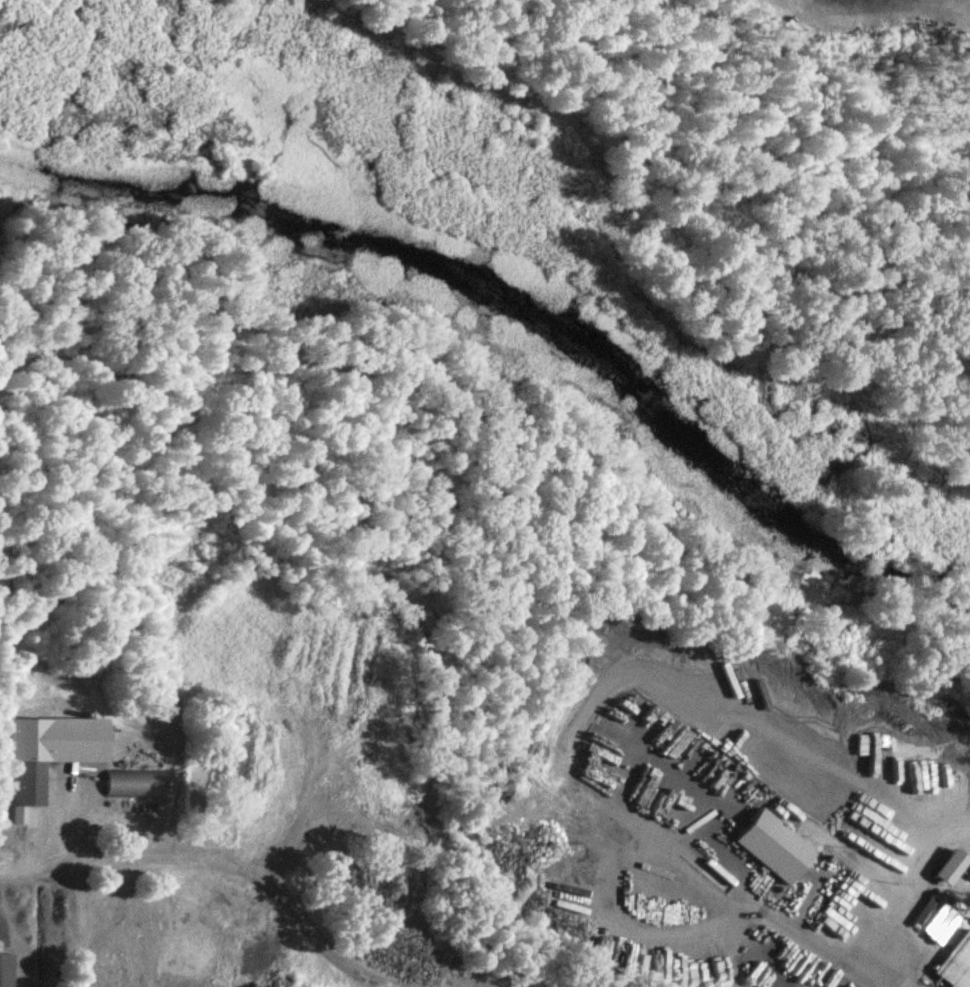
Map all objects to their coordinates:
building: (51, 755)
building: (917, 770)
road: (256, 873)
road: (24, 877)
building: (957, 964)
building: (7, 970)

